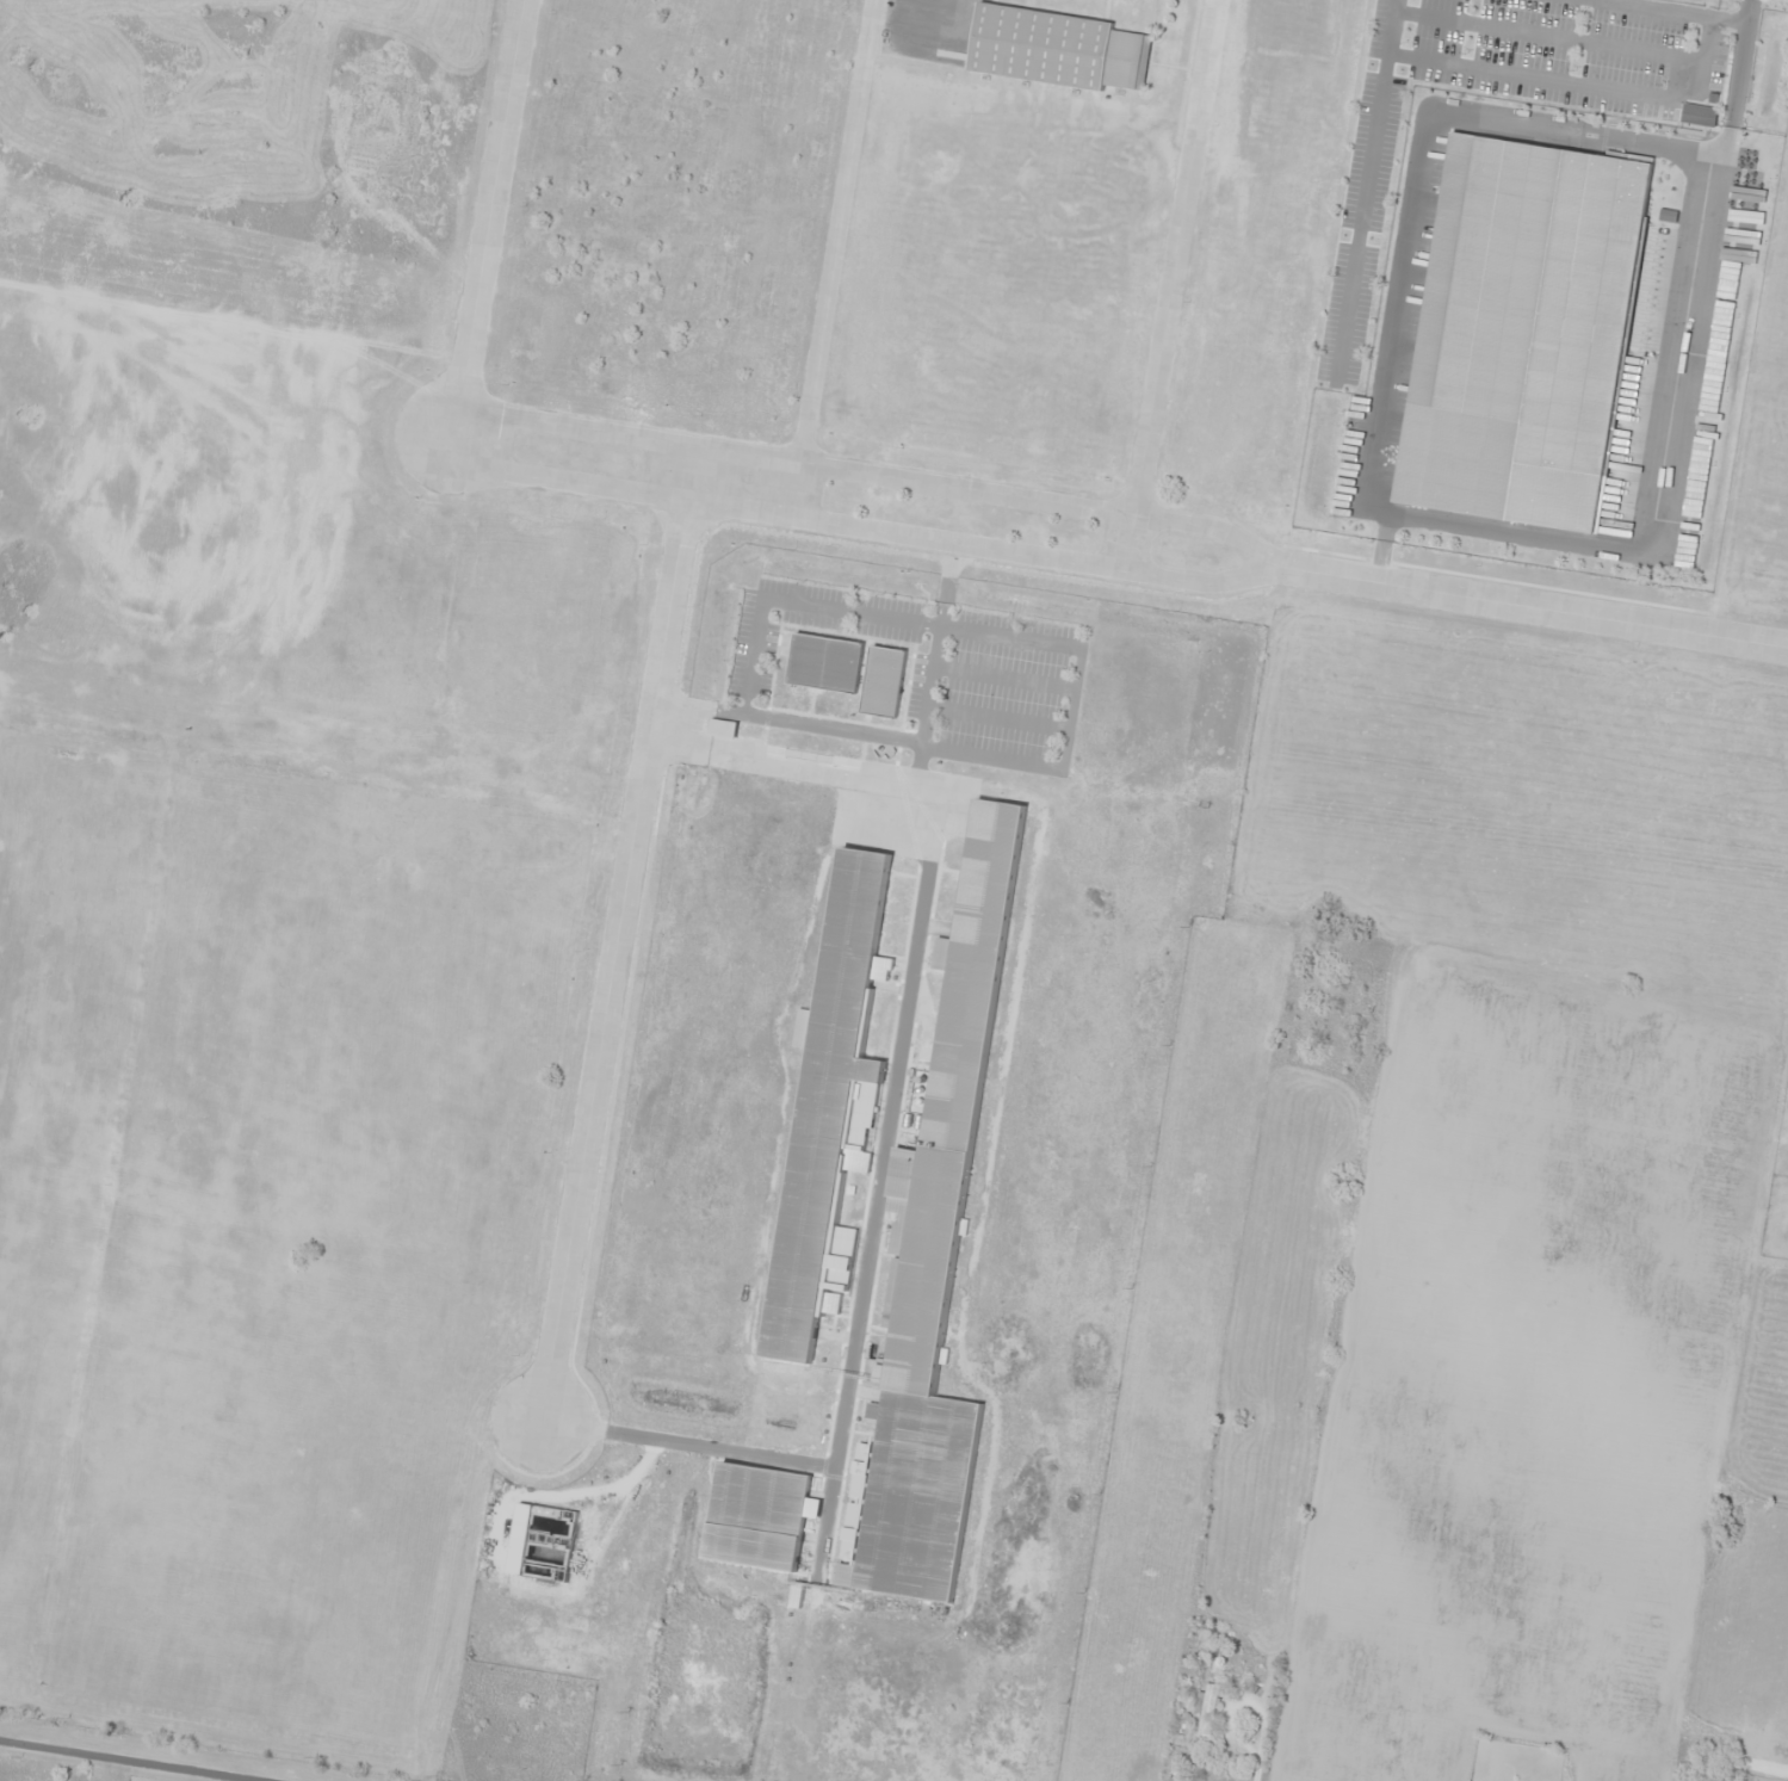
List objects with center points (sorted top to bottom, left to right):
road: (1689, 8)
road: (1570, 32)
building: (1056, 48)
road: (1555, 74)
road: (1737, 79)
road: (1366, 187)
road: (491, 215)
road: (836, 259)
road: (1175, 285)
building: (1520, 332)
road: (462, 431)
road: (1362, 503)
road: (1529, 607)
road: (618, 932)
building: (824, 1096)
building: (936, 1269)
building: (751, 1510)
building: (1205, 1711)
road: (144, 1757)

